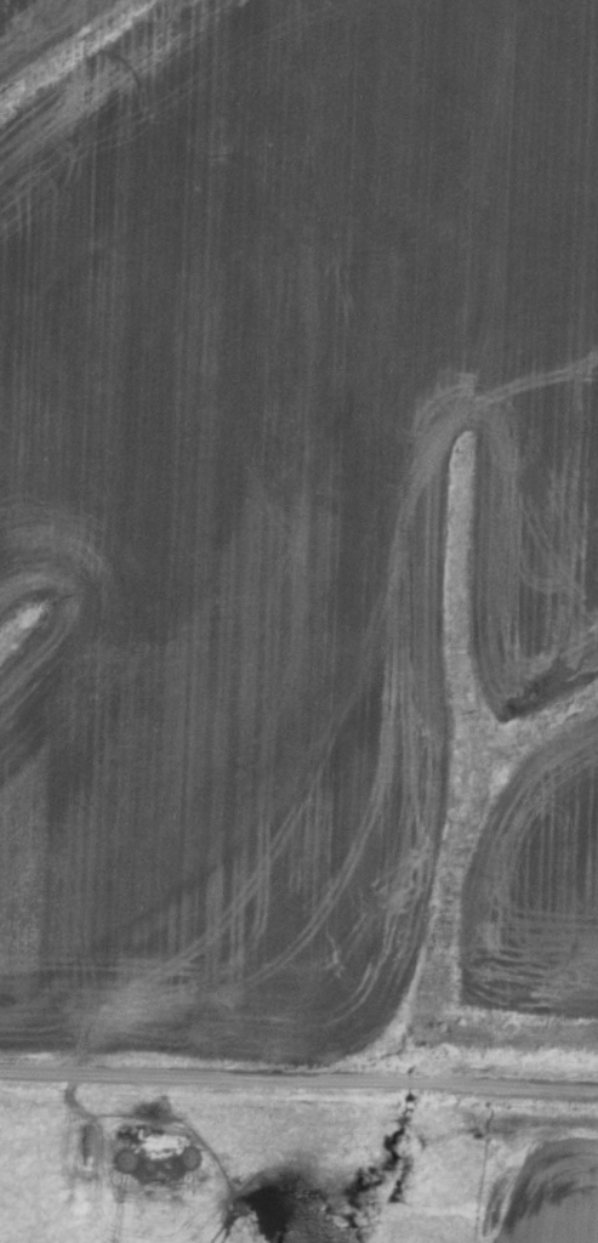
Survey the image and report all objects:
road: (298, 1083)

